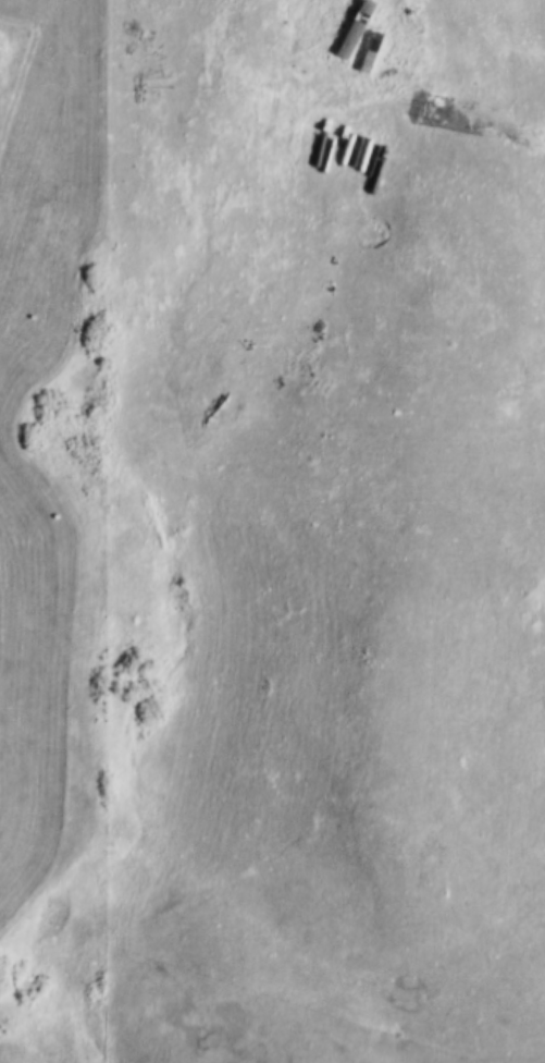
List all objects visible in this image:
building: (339, 14)
building: (348, 25)
building: (391, 36)
building: (366, 47)

